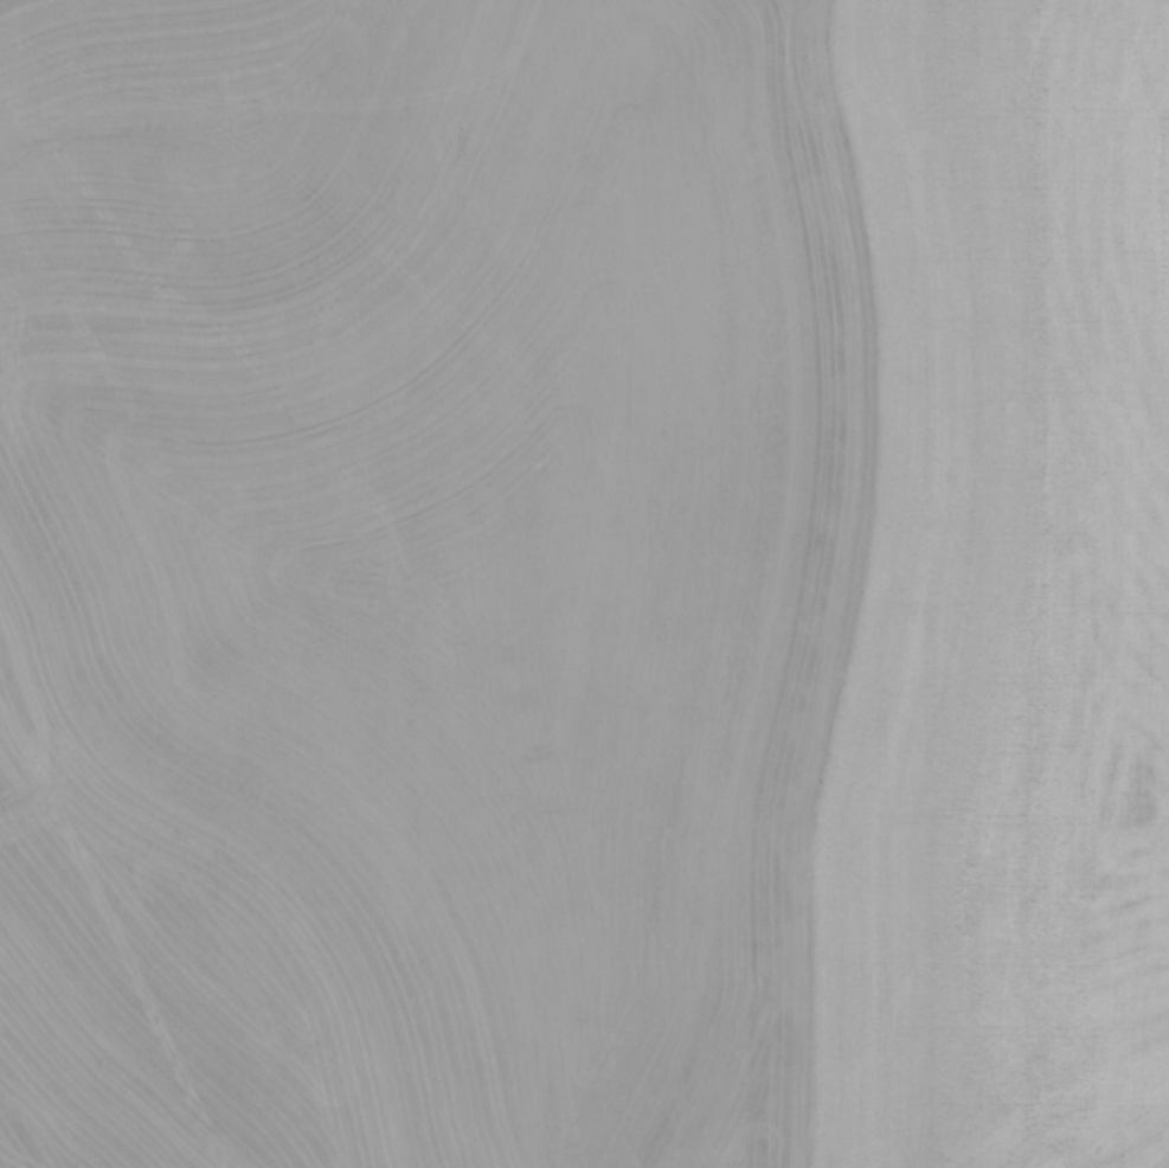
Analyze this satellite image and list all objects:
crop: (423, 577)

